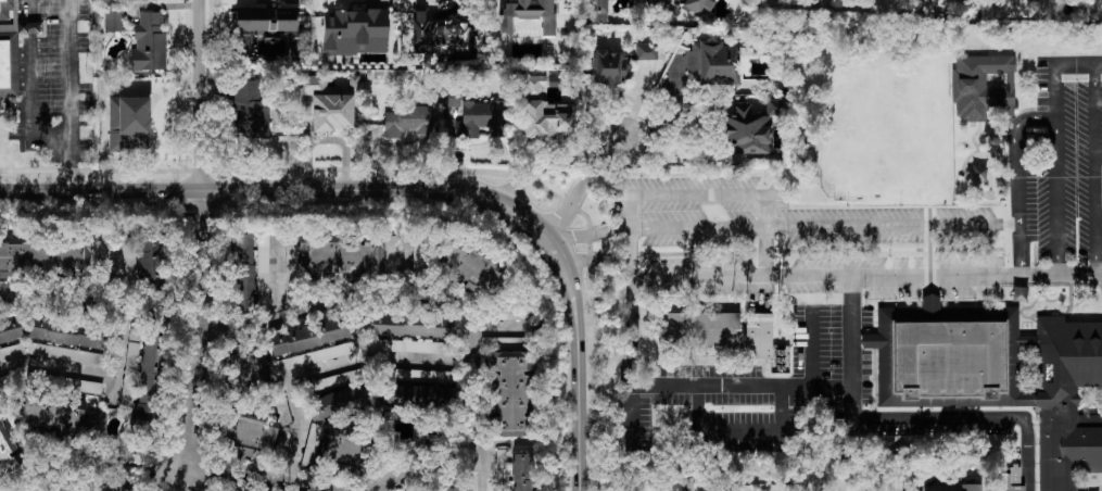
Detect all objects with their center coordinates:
building: (653, 0)
building: (699, 5)
building: (598, 11)
building: (529, 14)
building: (115, 18)
building: (262, 27)
building: (355, 33)
building: (436, 35)
building: (149, 43)
building: (11, 47)
building: (620, 63)
building: (718, 63)
road: (1056, 70)
building: (981, 85)
building: (534, 86)
road: (1095, 93)
building: (451, 101)
building: (326, 104)
building: (251, 110)
building: (478, 118)
road: (671, 118)
building: (546, 119)
building: (409, 123)
building: (129, 124)
building: (750, 128)
road: (54, 140)
road: (1016, 158)
road: (71, 164)
road: (581, 185)
road: (409, 192)
road: (1057, 198)
road: (1095, 199)
road: (803, 227)
road: (201, 234)
road: (899, 251)
road: (767, 252)
building: (340, 253)
building: (390, 253)
building: (45, 256)
building: (152, 260)
road: (597, 261)
road: (631, 263)
building: (130, 267)
building: (473, 267)
building: (263, 268)
building: (242, 274)
road: (977, 276)
road: (51, 306)
road: (318, 309)
building: (394, 325)
building: (699, 329)
building: (10, 330)
road: (631, 331)
building: (68, 332)
building: (758, 336)
building: (308, 337)
building: (410, 347)
road: (851, 348)
road: (812, 349)
building: (12, 352)
building: (66, 354)
building: (317, 356)
building: (776, 361)
road: (476, 362)
building: (246, 364)
road: (86, 372)
road: (325, 372)
building: (422, 375)
building: (1001, 376)
building: (151, 378)
road: (710, 387)
road: (112, 388)
building: (509, 393)
building: (416, 396)
building: (339, 401)
road: (974, 418)
building: (53, 419)
road: (739, 429)
road: (605, 430)
building: (248, 435)
building: (342, 450)
building: (7, 455)
road: (434, 455)
road: (111, 471)
road: (253, 473)
building: (522, 473)
road: (166, 478)
building: (1014, 479)
road: (891, 483)
building: (449, 484)
building: (115, 486)
building: (972, 487)
building: (236, 490)
road: (354, 490)

